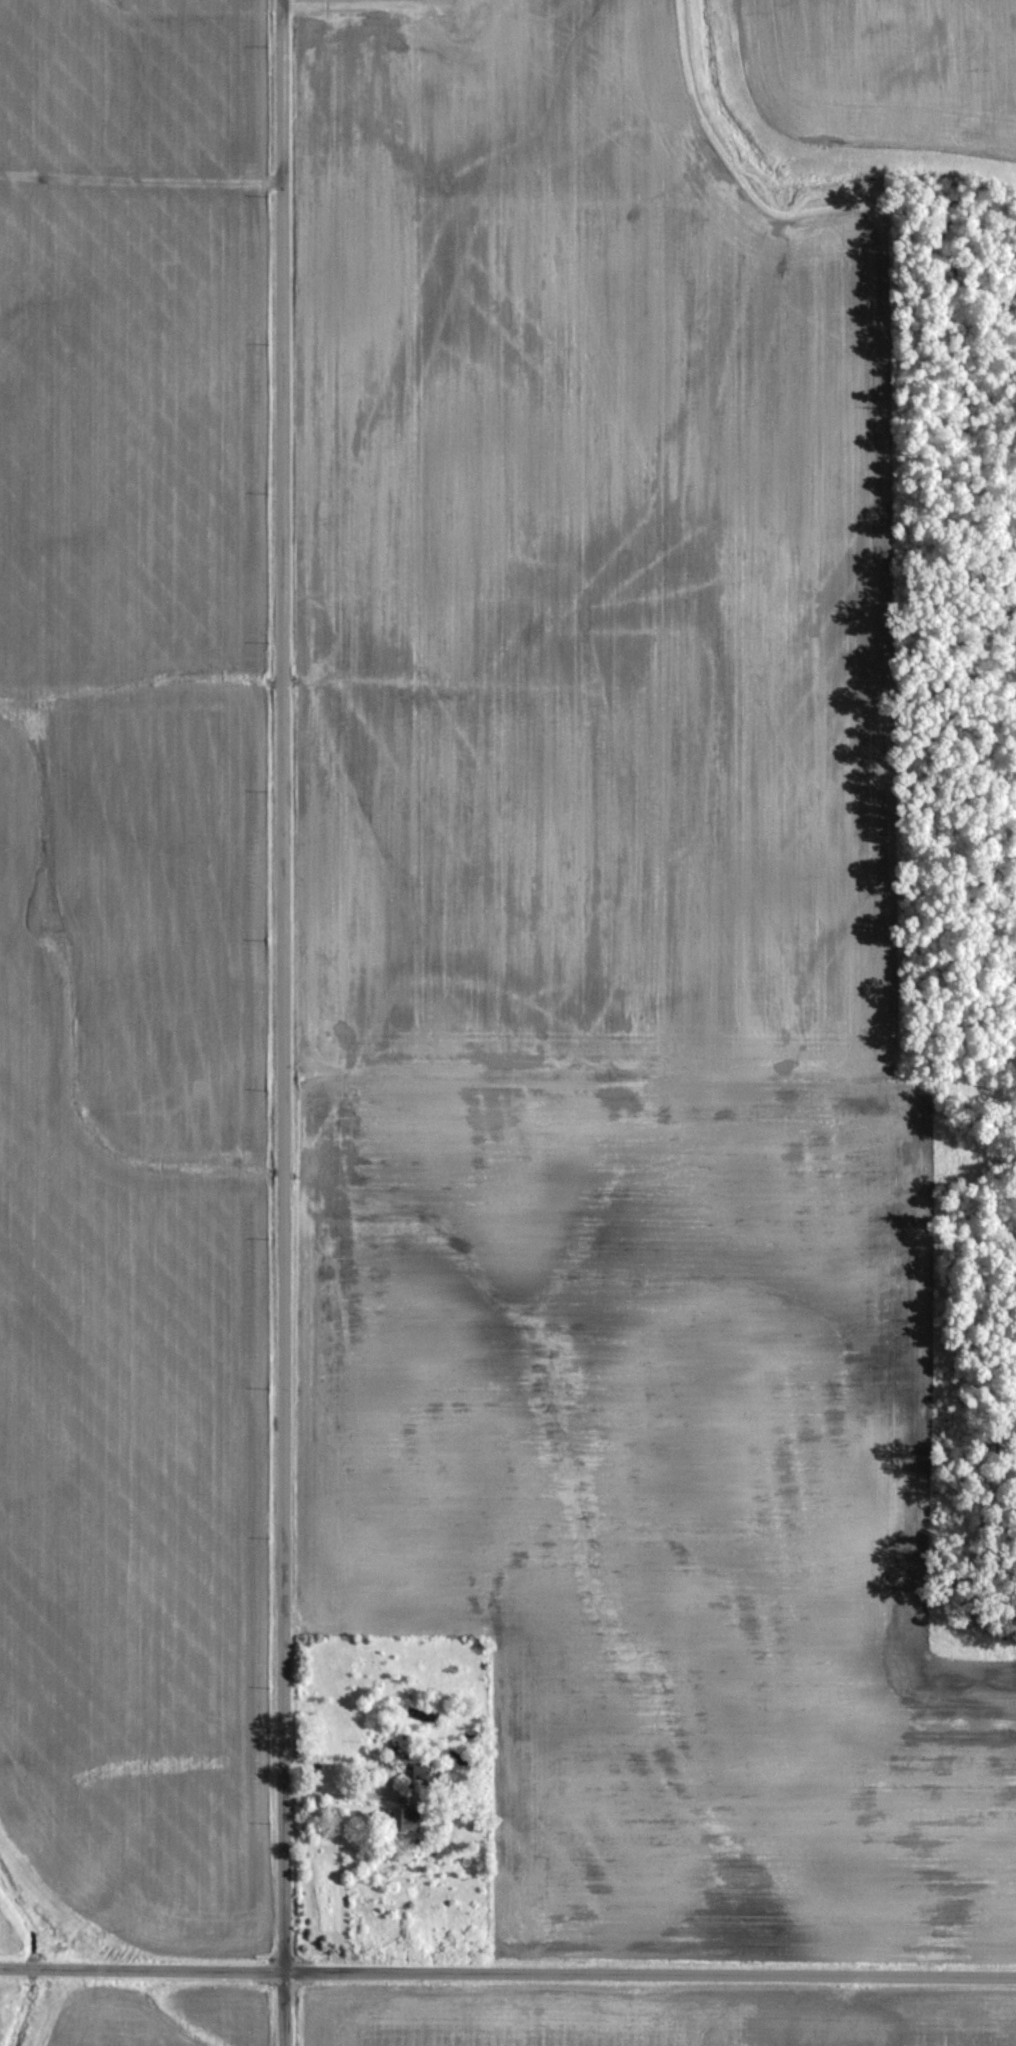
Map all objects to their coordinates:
road: (280, 1023)
building: (405, 1816)
road: (507, 1965)

